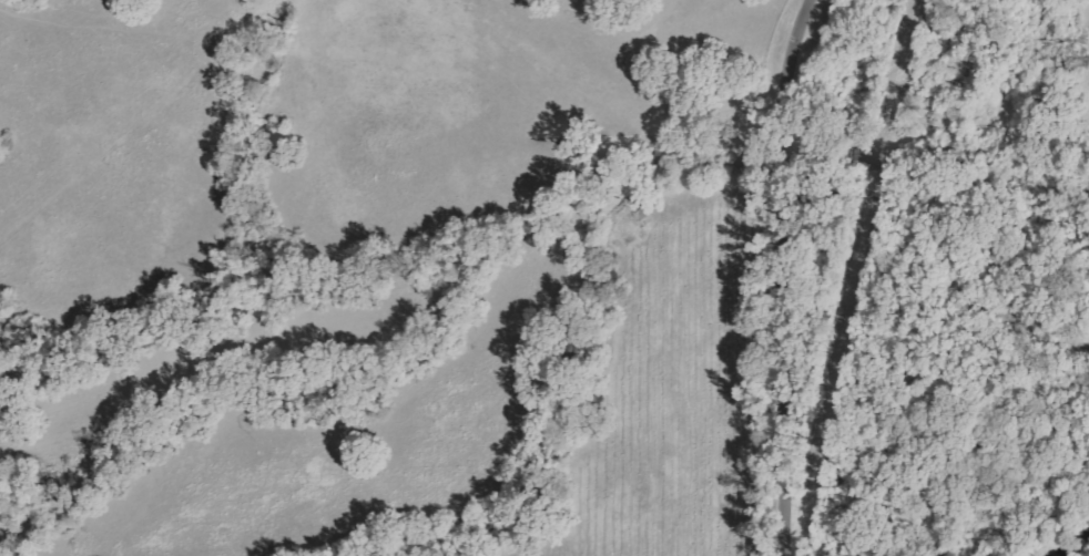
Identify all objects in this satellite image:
road: (775, 276)

